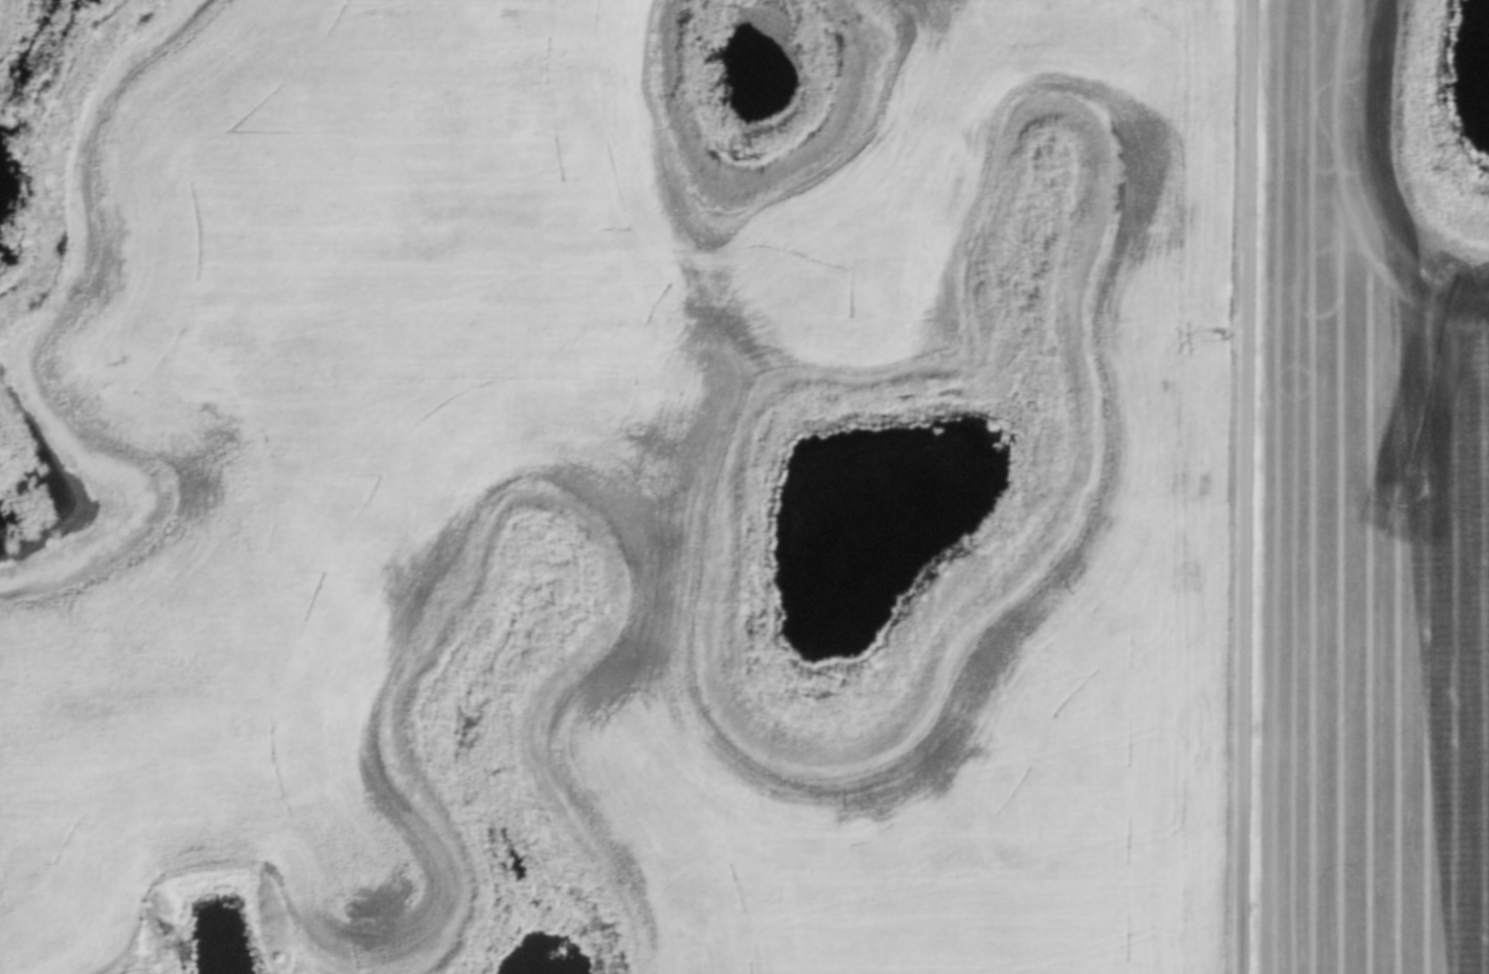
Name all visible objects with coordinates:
road: (1257, 487)

